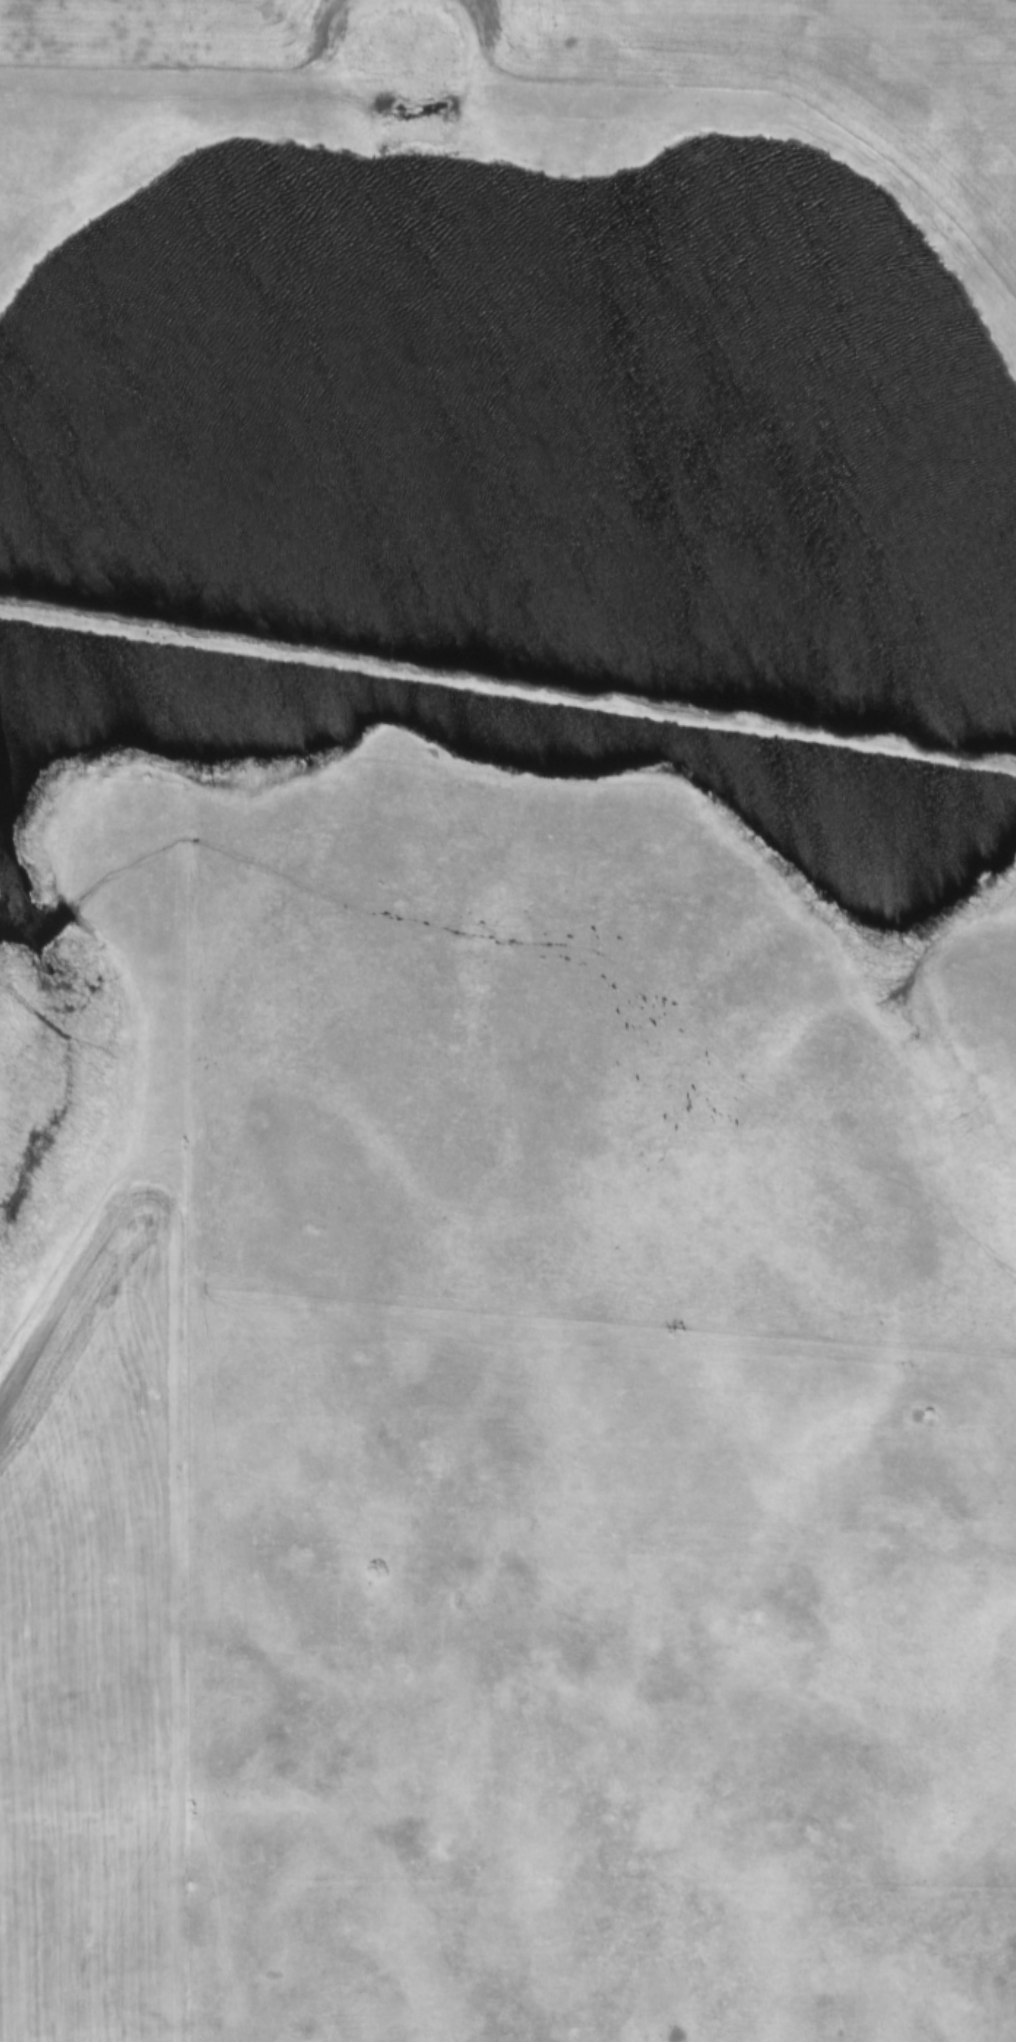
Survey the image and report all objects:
road: (508, 770)

